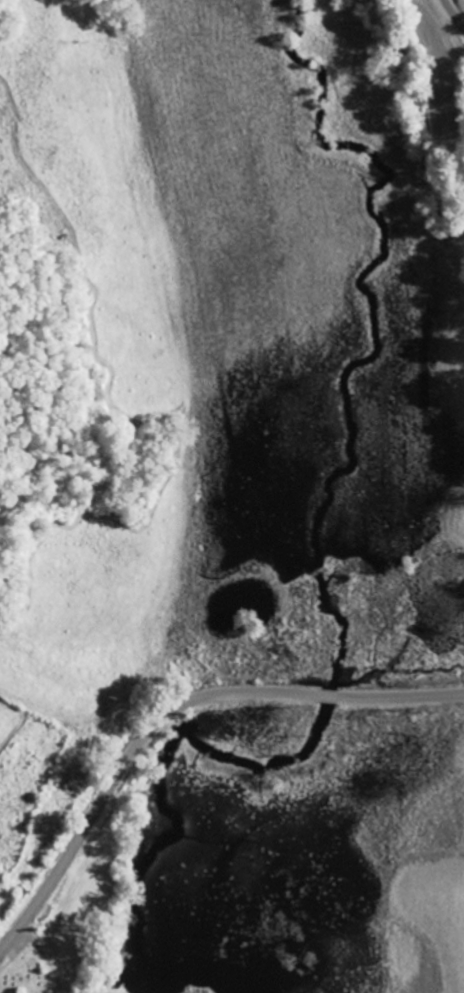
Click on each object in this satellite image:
road: (454, 14)
road: (170, 713)

